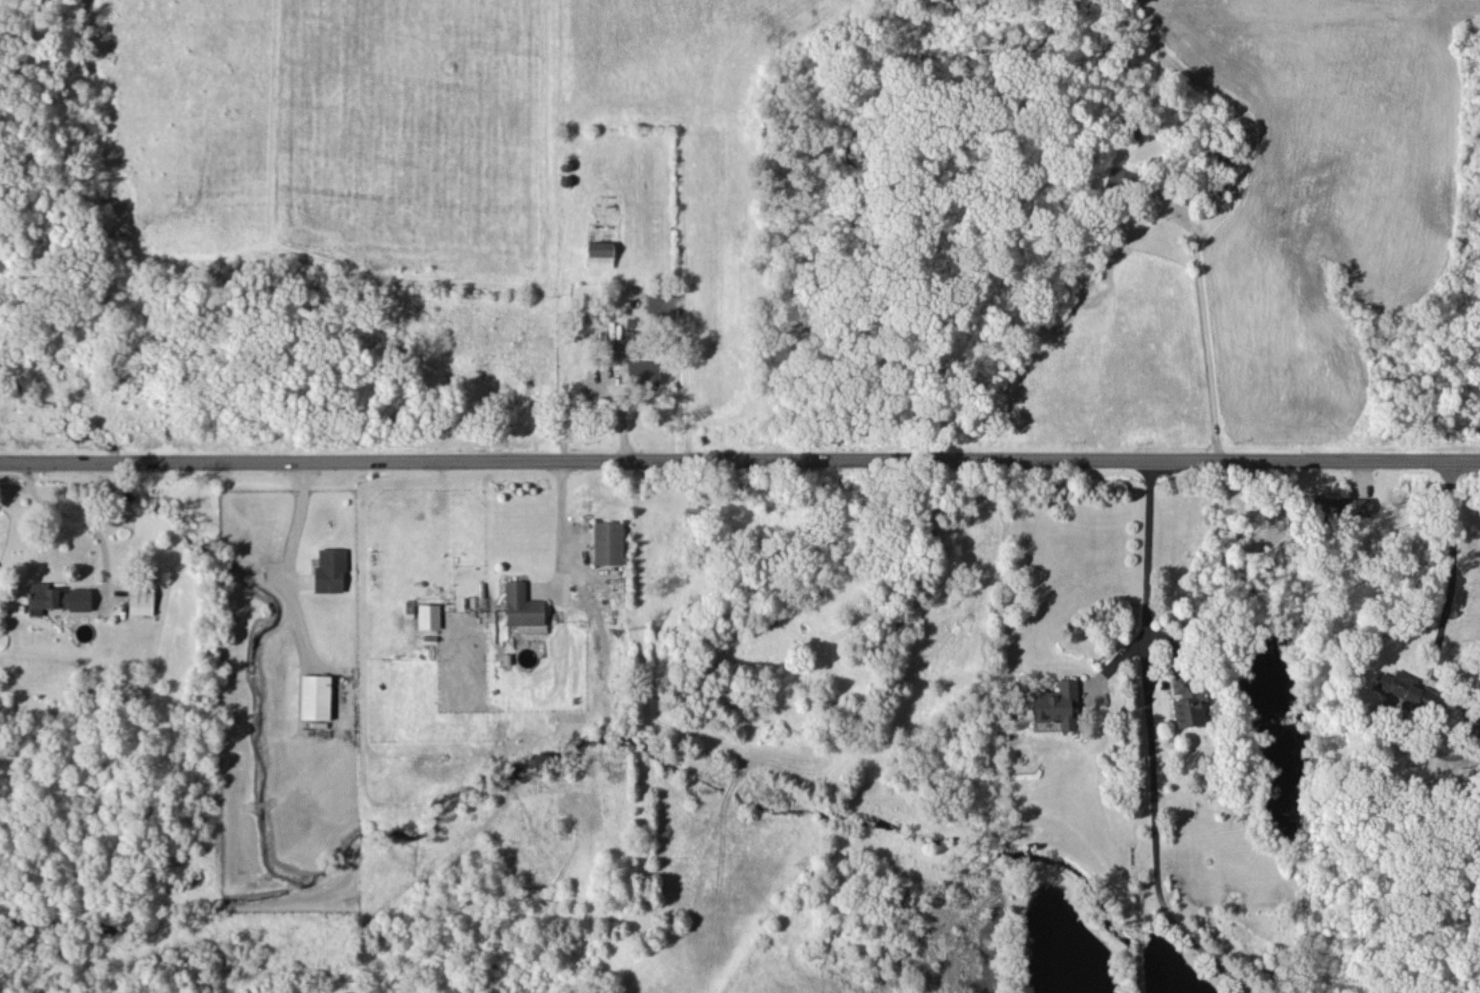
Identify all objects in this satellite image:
building: (1120, 178)
building: (599, 254)
road: (1203, 331)
building: (643, 371)
road: (740, 456)
building: (1342, 508)
road: (76, 511)
road: (296, 517)
road: (562, 521)
building: (607, 543)
road: (1448, 566)
building: (329, 570)
building: (55, 598)
building: (140, 600)
building: (521, 605)
building: (428, 616)
building: (1406, 688)
building: (315, 697)
building: (1188, 700)
building: (1056, 704)
road: (1155, 745)

